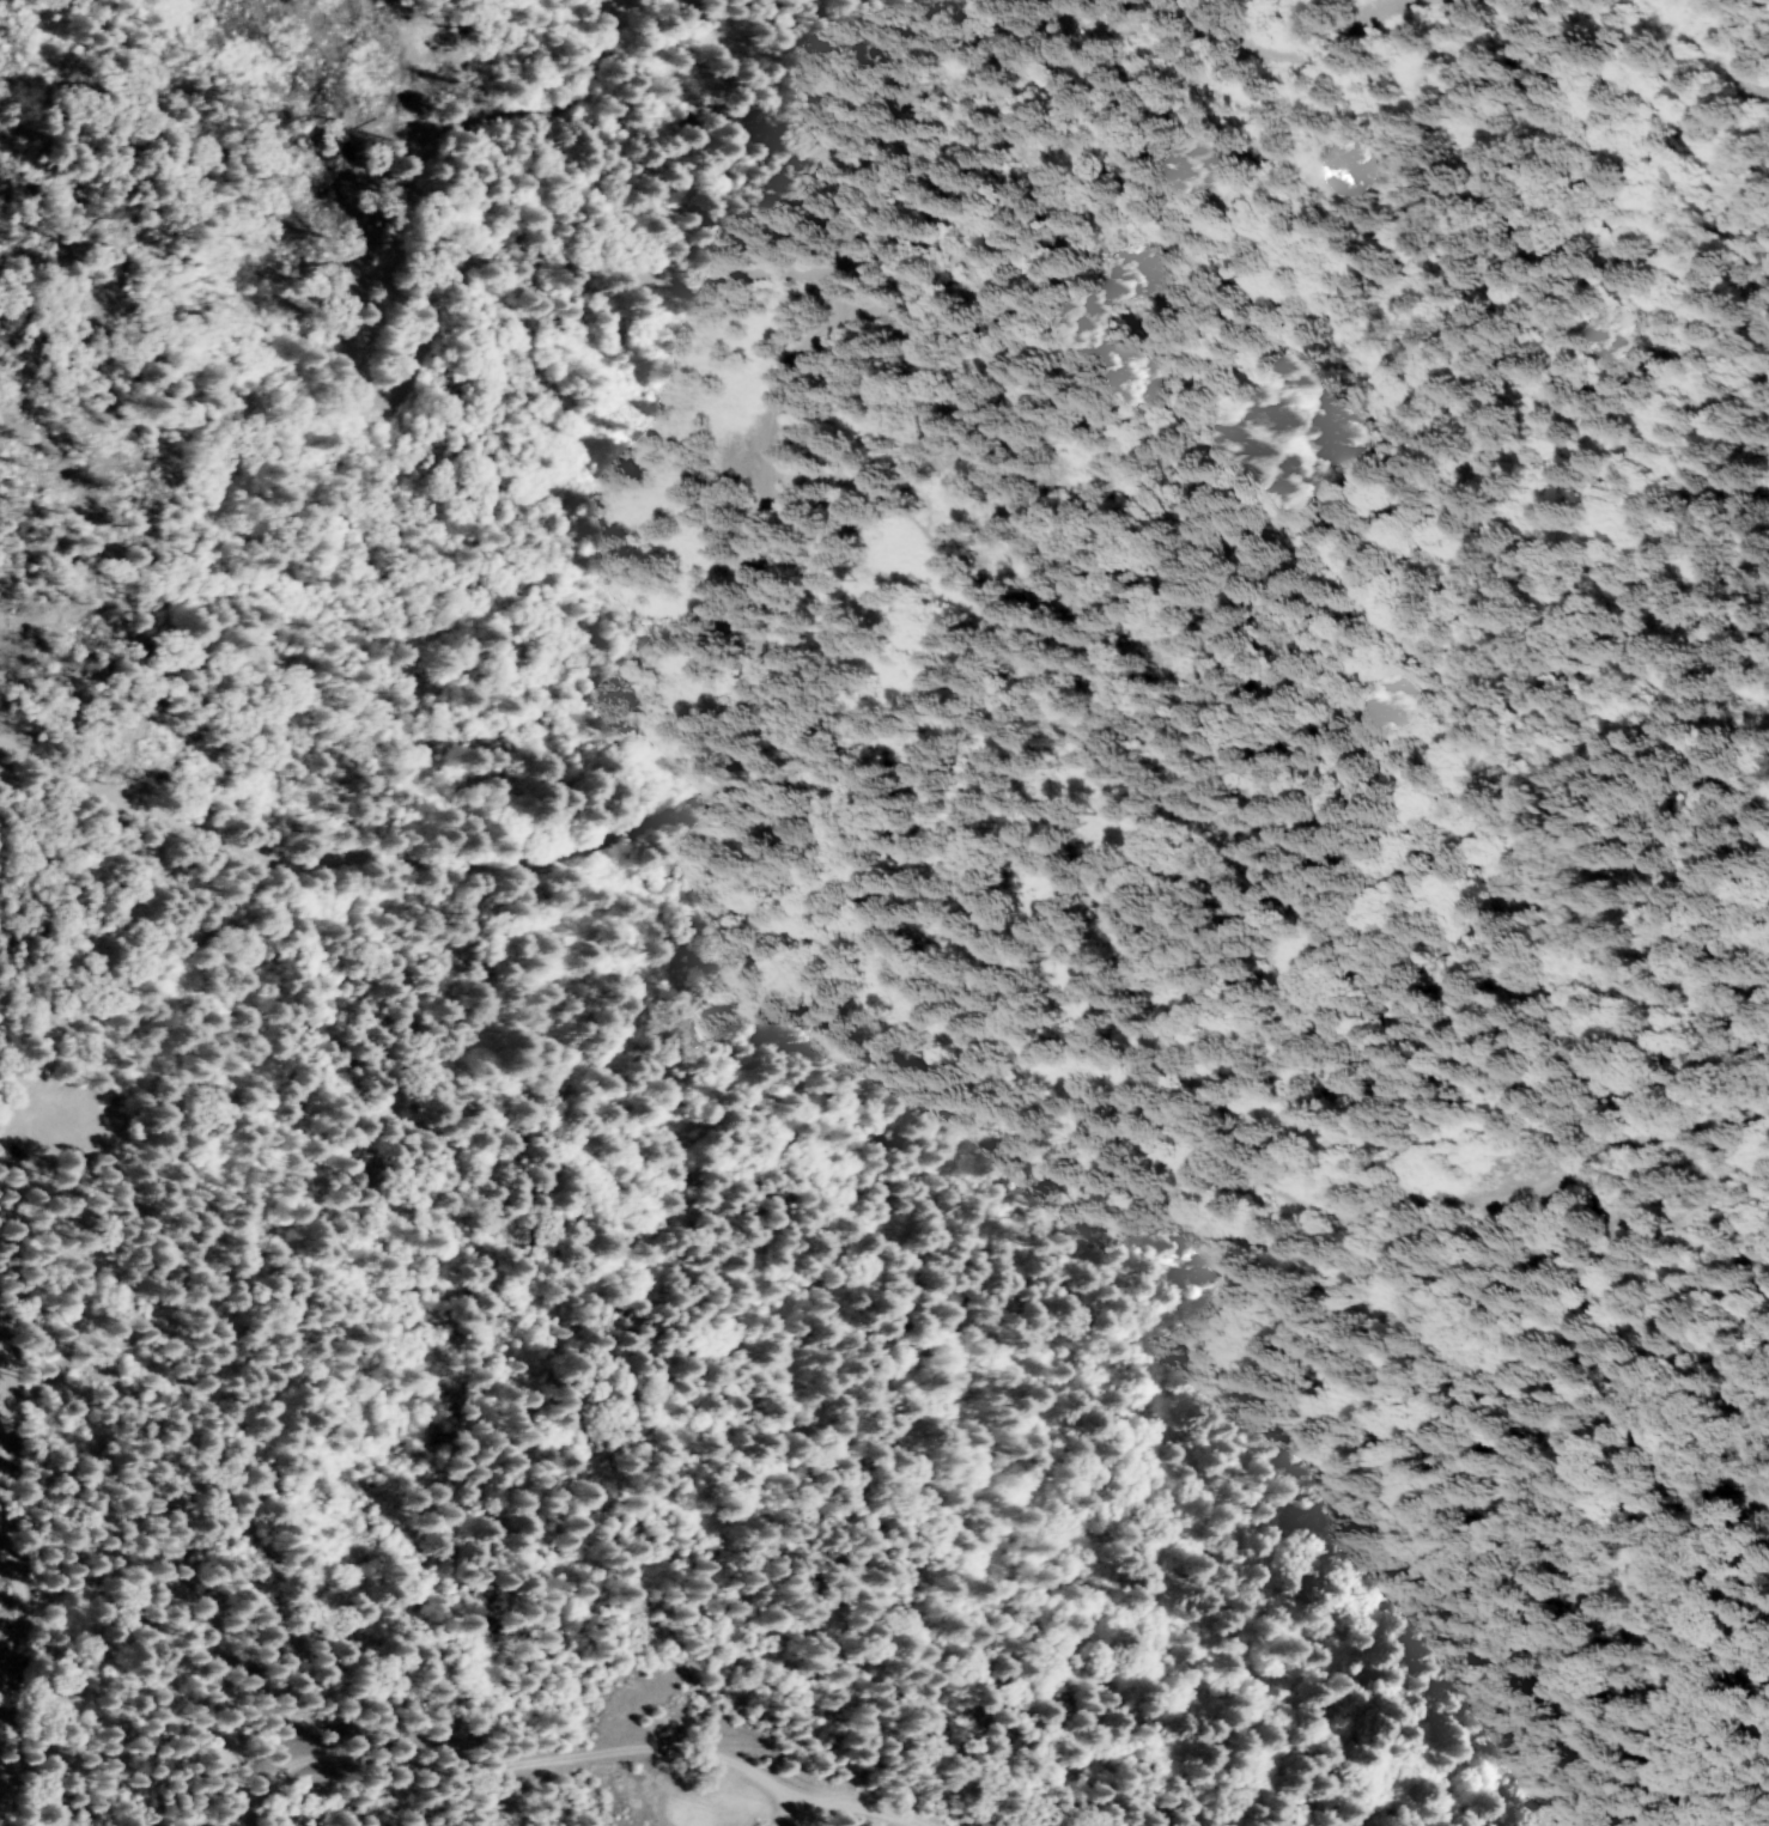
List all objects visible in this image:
road: (770, 491)
road: (38, 1524)
road: (908, 1809)

